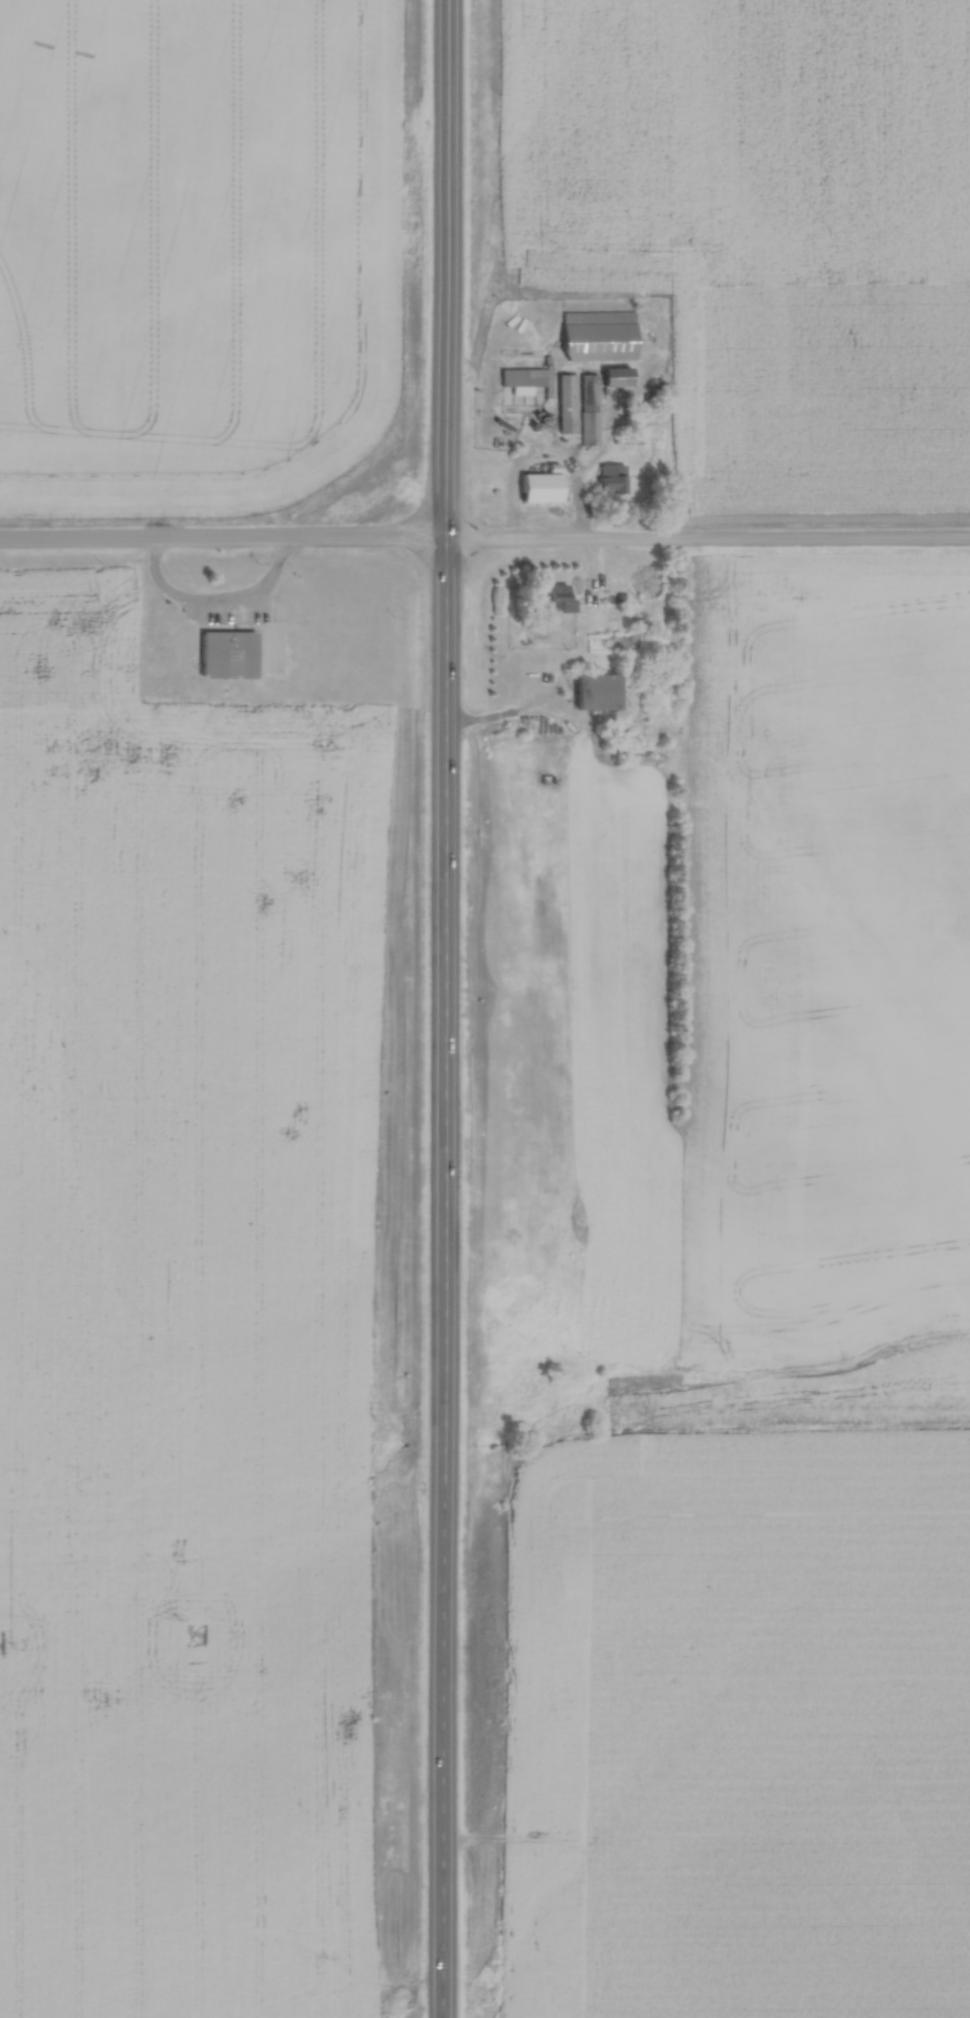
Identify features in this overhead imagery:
building: (595, 332)
building: (525, 376)
building: (590, 396)
building: (571, 401)
building: (505, 438)
road: (552, 444)
building: (611, 477)
building: (542, 484)
road: (223, 542)
road: (707, 543)
building: (557, 596)
road: (223, 619)
building: (243, 649)
building: (596, 690)
road: (510, 719)
road: (447, 1008)

